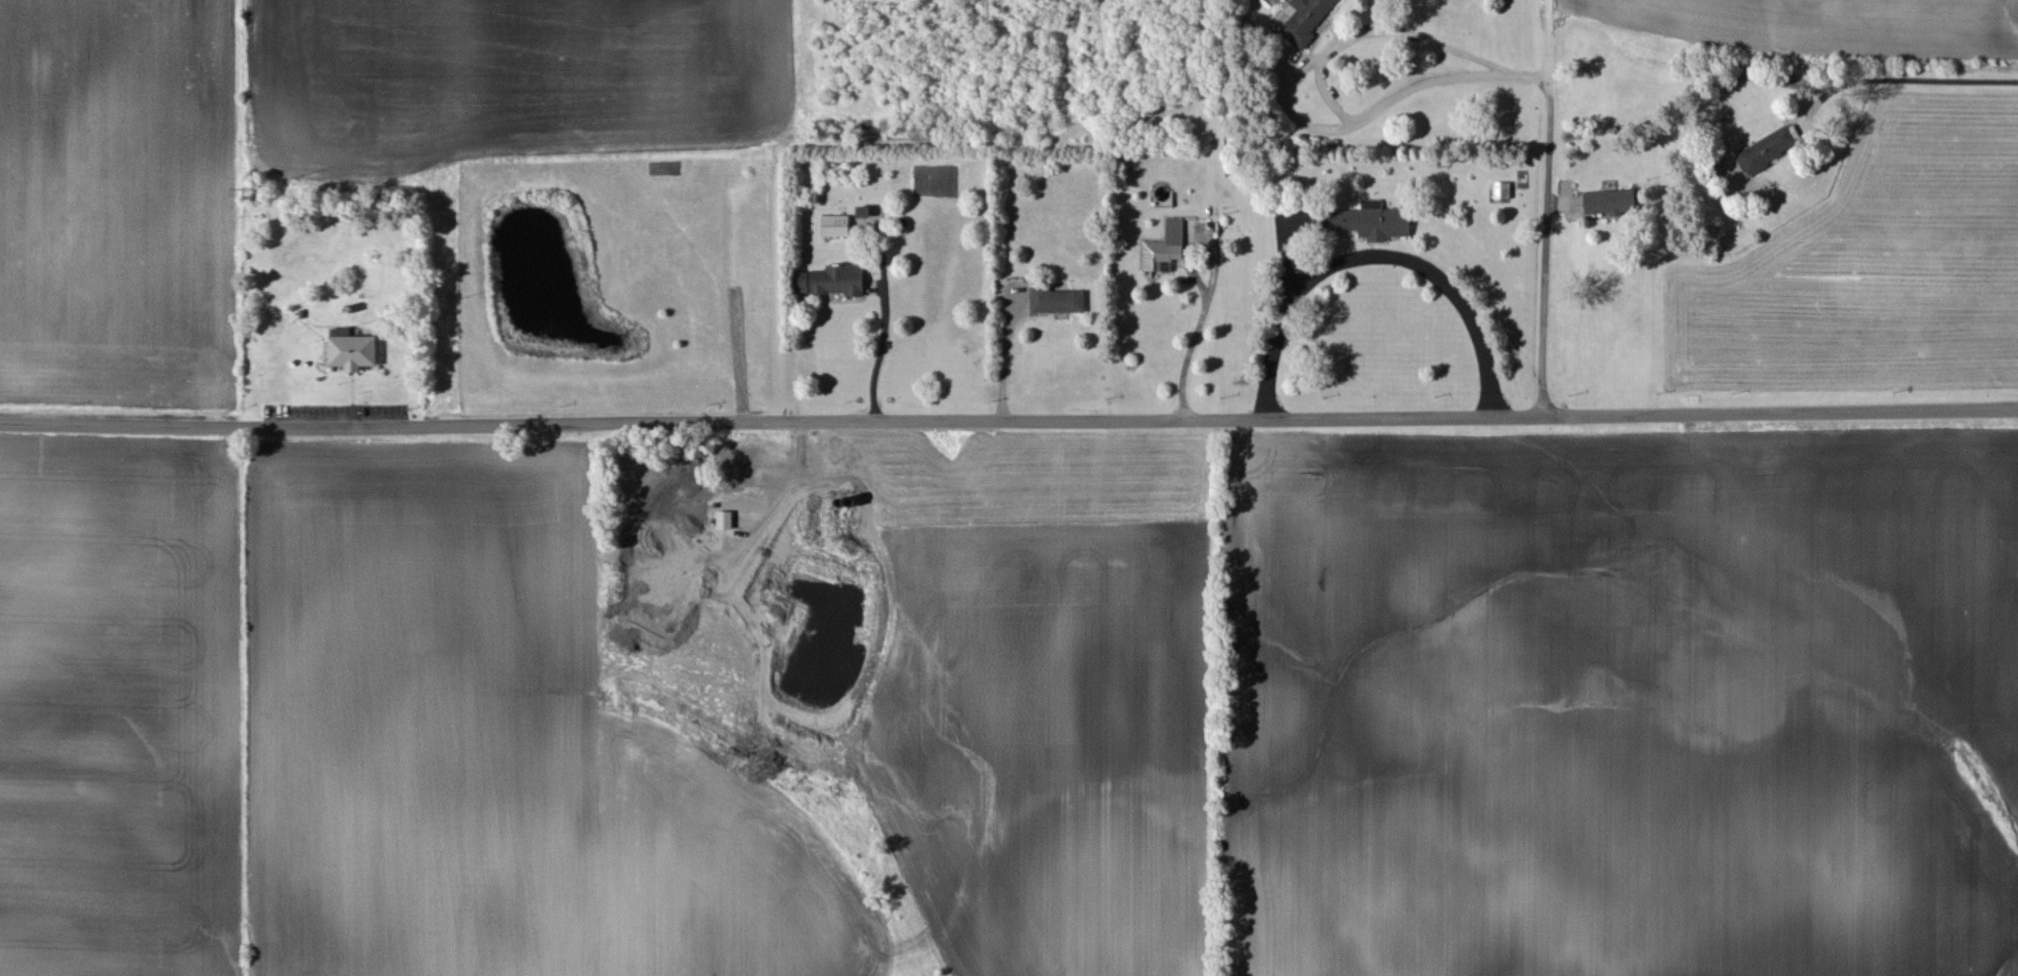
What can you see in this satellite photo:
building: (1308, 21)
road: (1903, 83)
building: (1769, 151)
building: (1503, 192)
building: (1612, 203)
road: (1546, 208)
building: (866, 215)
building: (1373, 223)
building: (838, 227)
building: (1165, 249)
road: (1373, 253)
building: (835, 282)
road: (1207, 295)
building: (1060, 302)
building: (354, 352)
road: (878, 354)
road: (1008, 420)

